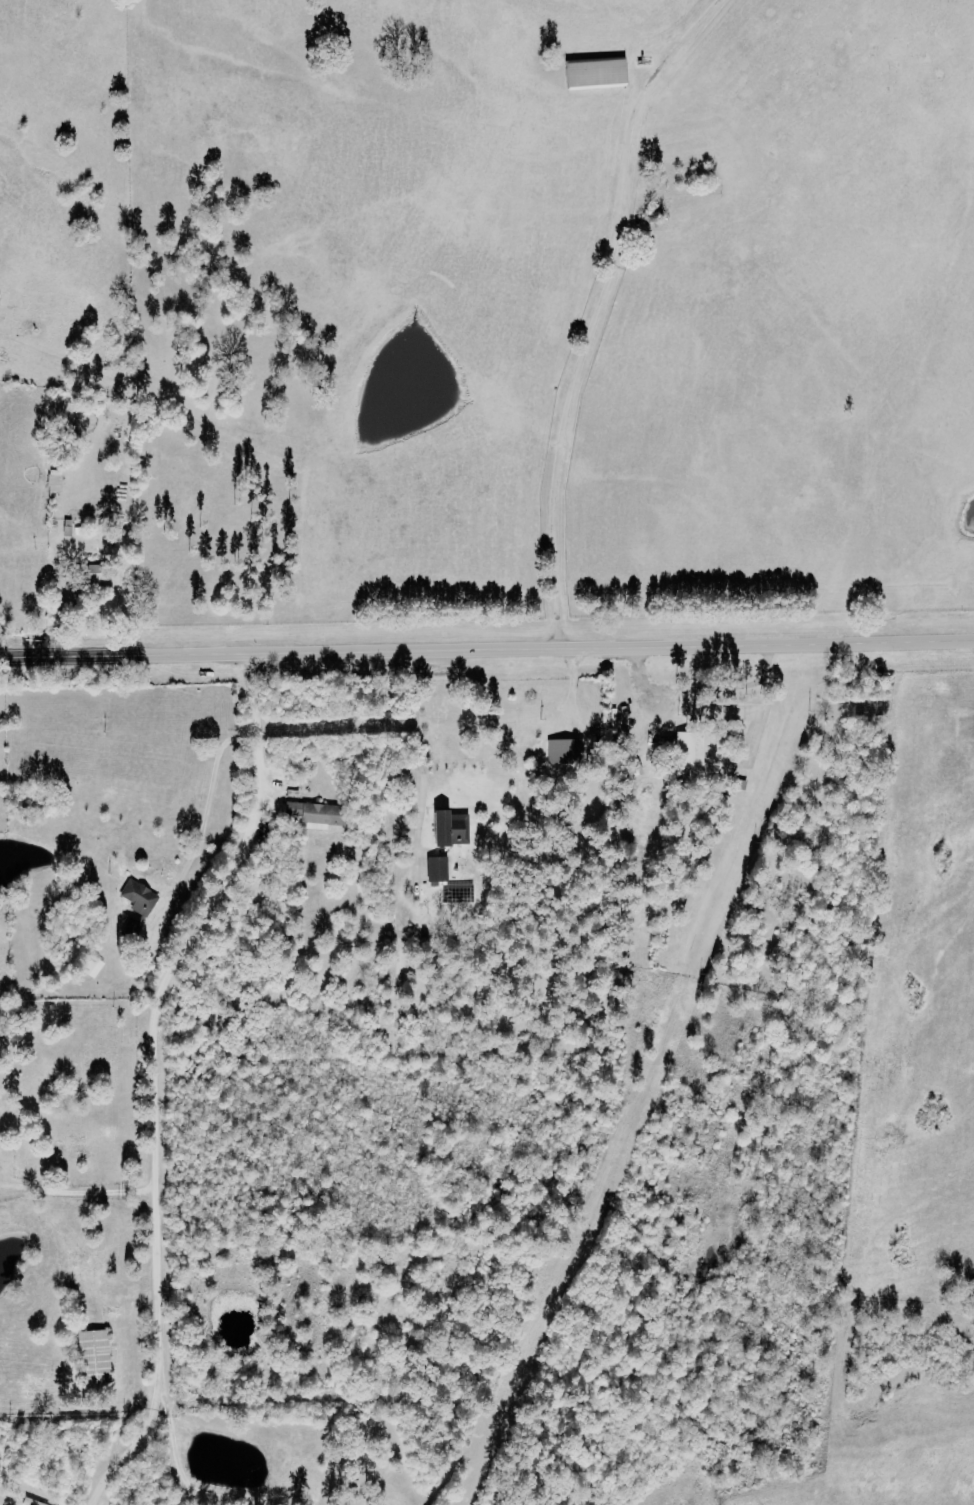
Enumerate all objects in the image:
building: (600, 74)
building: (98, 574)
road: (547, 646)
road: (60, 657)
building: (694, 748)
building: (568, 752)
building: (320, 815)
road: (205, 816)
building: (455, 830)
building: (439, 869)
building: (139, 908)
road: (151, 1068)
road: (75, 1192)
building: (98, 1357)
road: (133, 1446)
building: (34, 1502)

